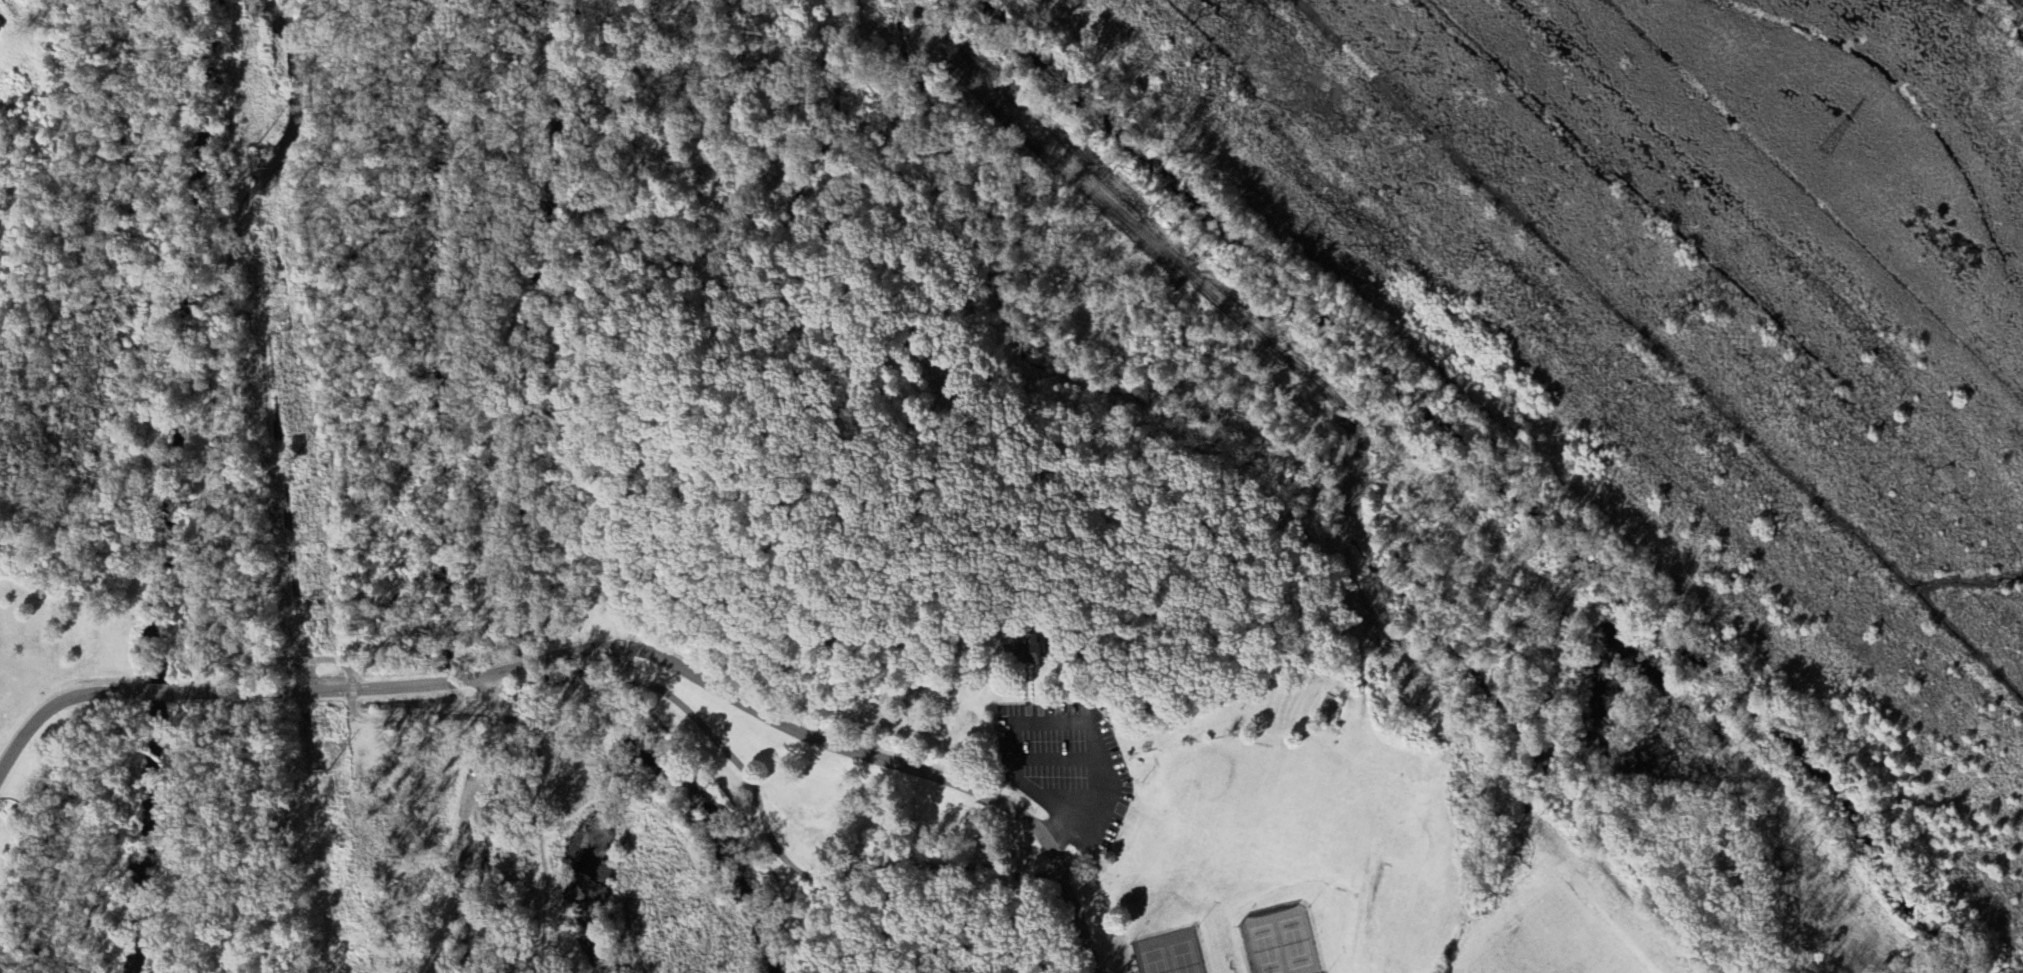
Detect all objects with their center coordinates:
power tower: (1827, 151)
road: (503, 335)
park: (214, 368)
road: (203, 481)
park: (988, 600)
building: (1028, 654)
road: (248, 692)
road: (514, 723)
road: (1066, 724)
road: (854, 754)
parking lot: (1065, 769)
road: (1045, 797)
parking lot: (464, 815)
road: (739, 815)
road: (474, 825)
road: (766, 829)
road: (540, 843)
road: (1059, 940)
park: (1279, 940)
park: (1168, 953)

